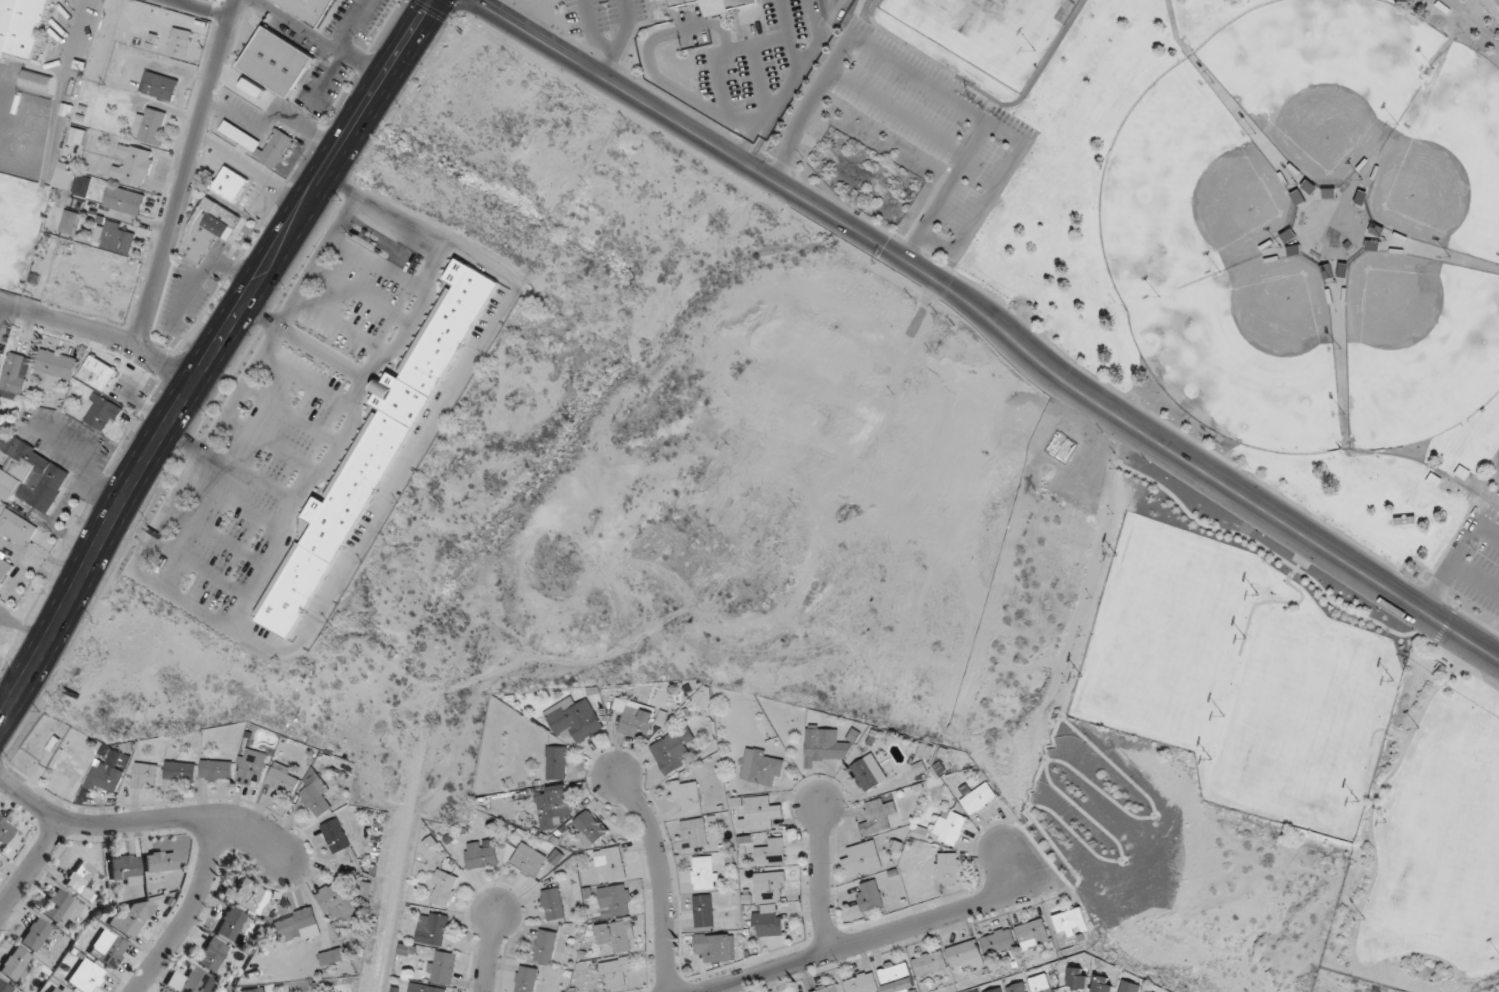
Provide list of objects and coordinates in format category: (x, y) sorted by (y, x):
building: (660, 0)
building: (715, 4)
road: (199, 9)
building: (310, 10)
road: (1471, 20)
park: (992, 21)
road: (349, 24)
building: (21, 26)
road: (1175, 29)
road: (590, 31)
road: (320, 38)
road: (619, 39)
building: (180, 42)
building: (277, 61)
park: (1324, 76)
road: (325, 80)
building: (36, 81)
building: (158, 85)
building: (252, 89)
road: (937, 90)
road: (985, 93)
road: (898, 112)
building: (151, 126)
building: (77, 135)
building: (260, 143)
park: (1446, 161)
building: (135, 165)
road: (184, 172)
building: (65, 177)
building: (231, 184)
building: (83, 186)
park: (1185, 187)
road: (946, 190)
building: (1303, 192)
building: (124, 200)
park: (1174, 213)
building: (69, 221)
building: (208, 230)
building: (115, 236)
road: (993, 321)
road: (280, 323)
road: (100, 332)
road: (303, 343)
park: (1418, 346)
park: (1250, 354)
road: (209, 355)
building: (56, 366)
building: (98, 373)
building: (15, 376)
road: (367, 378)
building: (103, 413)
road: (1496, 462)
road: (1425, 463)
building: (366, 465)
building: (31, 474)
building: (16, 527)
road: (1489, 529)
road: (1455, 535)
road: (1266, 548)
parking lot: (1474, 558)
road: (1451, 566)
building: (4, 570)
road: (1476, 577)
road: (1288, 601)
road: (1450, 603)
road: (1445, 625)
park: (1168, 636)
road: (1459, 658)
park: (1305, 702)
building: (634, 718)
building: (574, 719)
park: (1303, 725)
road: (1385, 729)
building: (825, 746)
building: (672, 750)
building: (557, 763)
building: (69, 765)
building: (252, 767)
building: (761, 767)
building: (216, 770)
building: (178, 773)
building: (869, 774)
building: (145, 776)
building: (105, 777)
building: (282, 779)
building: (687, 793)
building: (315, 794)
building: (978, 798)
building: (553, 806)
building: (758, 812)
building: (878, 817)
road: (140, 820)
building: (949, 826)
building: (589, 828)
building: (4, 831)
building: (695, 832)
building: (335, 835)
building: (771, 851)
park: (1450, 853)
building: (480, 855)
building: (528, 860)
building: (860, 860)
building: (159, 861)
building: (610, 864)
road: (1013, 864)
road: (31, 866)
building: (949, 868)
building: (126, 869)
building: (705, 872)
road: (661, 874)
road: (820, 874)
road: (1373, 877)
building: (80, 879)
building: (770, 887)
building: (443, 888)
building: (248, 895)
building: (870, 895)
building: (615, 901)
building: (337, 902)
building: (553, 904)
building: (58, 907)
building: (704, 910)
road: (190, 913)
building: (132, 918)
building: (1070, 922)
building: (767, 923)
building: (231, 924)
building: (295, 924)
building: (433, 928)
building: (1032, 933)
building: (34, 934)
building: (615, 938)
road: (861, 939)
building: (998, 941)
building: (546, 946)
building: (715, 946)
building: (107, 948)
road: (489, 950)
building: (212, 954)
building: (965, 954)
building: (332, 957)
building: (929, 963)
building: (16, 964)
building: (442, 967)
building: (615, 972)
building: (84, 976)
building: (897, 977)
building: (1079, 978)
building: (527, 979)
building: (190, 981)
building: (862, 983)
building: (1042, 984)
building: (1104, 984)
building: (4, 987)
building: (1019, 987)
building: (1129, 987)
building: (58, 988)
building: (426, 988)
building: (829, 989)
building: (997, 990)
building: (1151, 991)

